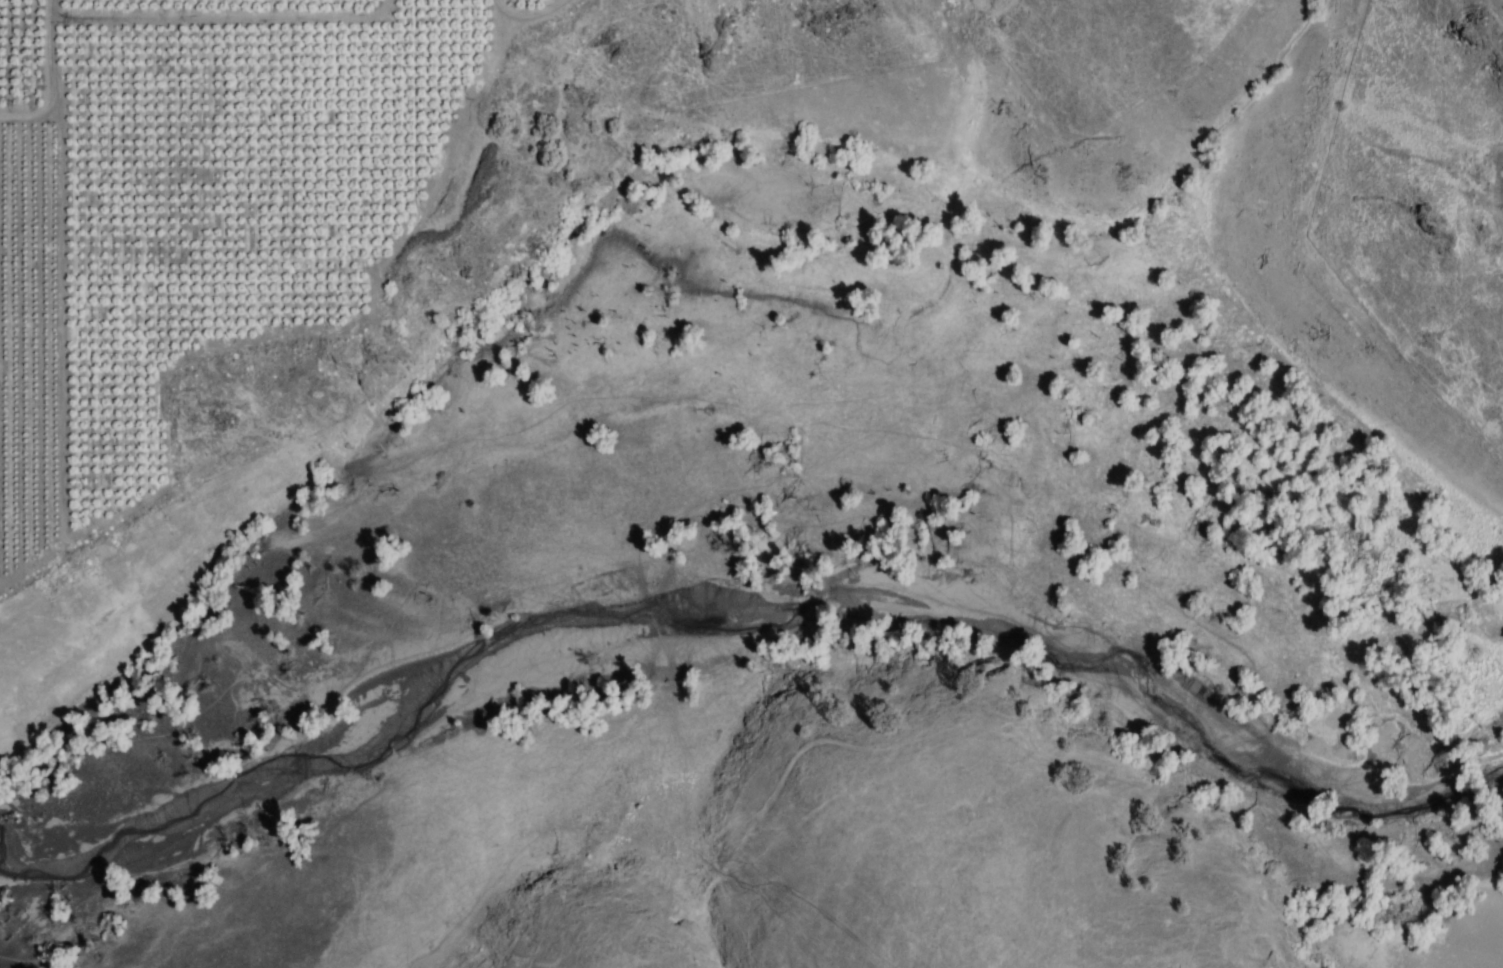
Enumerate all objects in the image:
crop: (983, 5)
crop: (1497, 7)
building: (339, 121)
crop: (1500, 198)
crop: (209, 216)
river: (735, 612)

